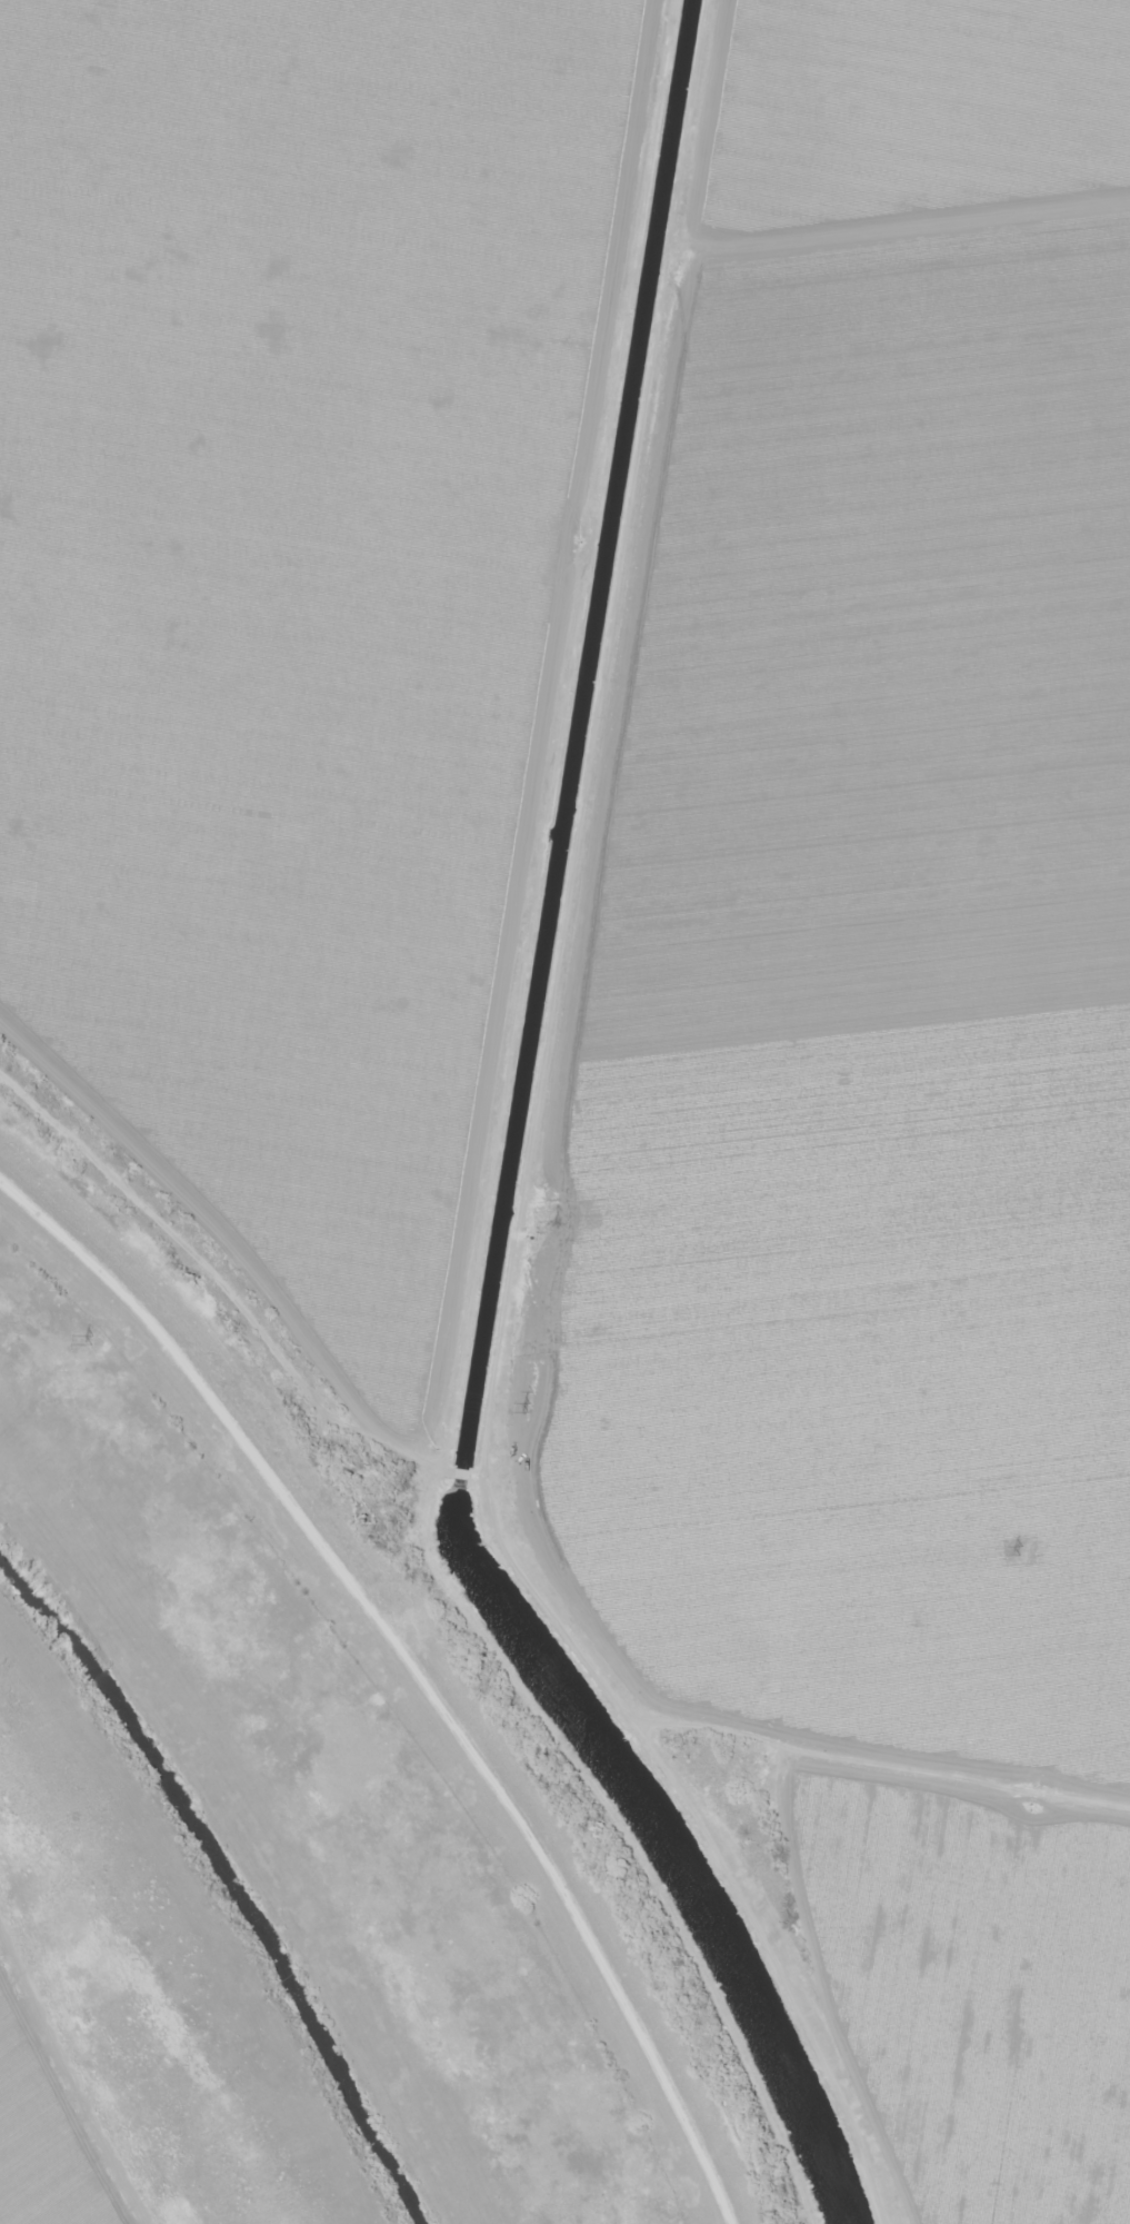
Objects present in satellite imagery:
power tower: (92, 1340)
power tower: (529, 1408)
road: (517, 1456)
power tower: (1021, 1551)
river: (226, 1879)
road: (836, 1969)

